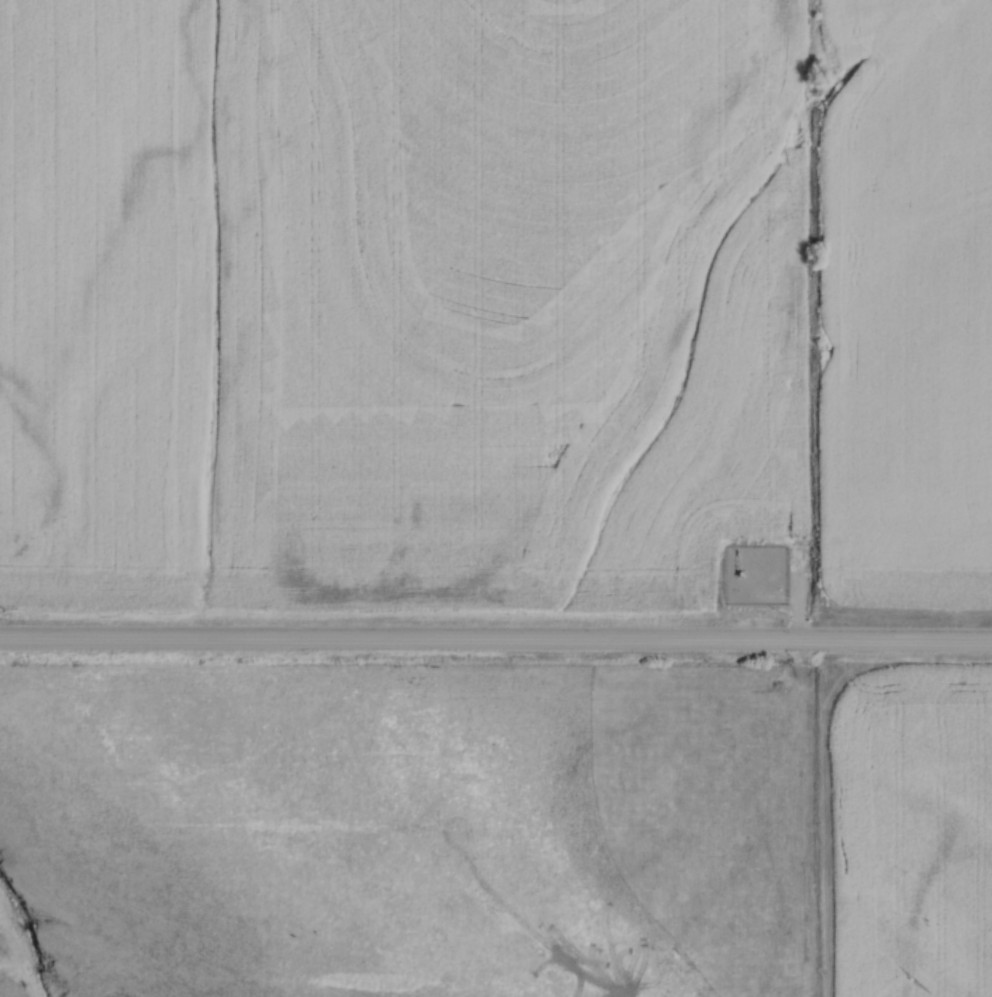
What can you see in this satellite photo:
road: (799, 614)
road: (495, 645)

